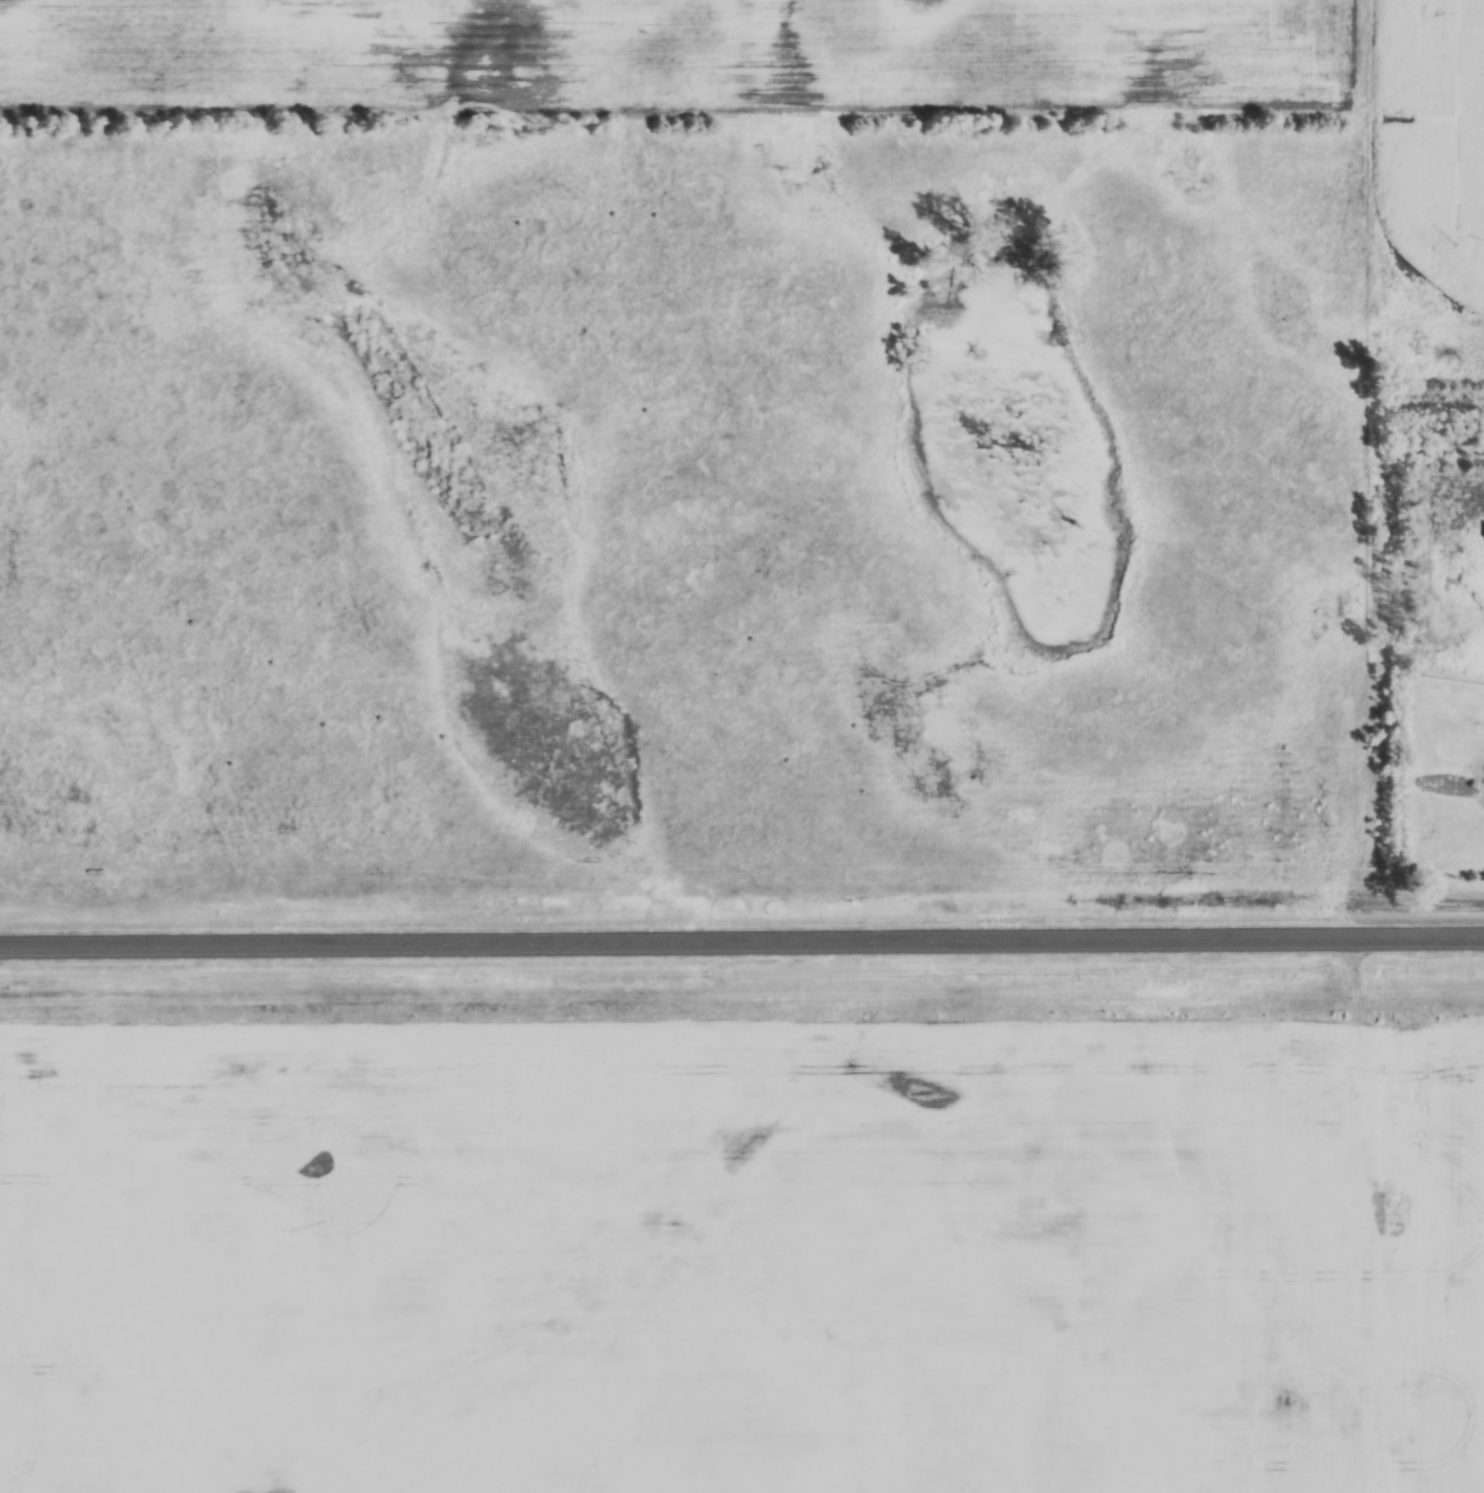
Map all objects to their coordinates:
building: (1483, 531)
road: (742, 930)

